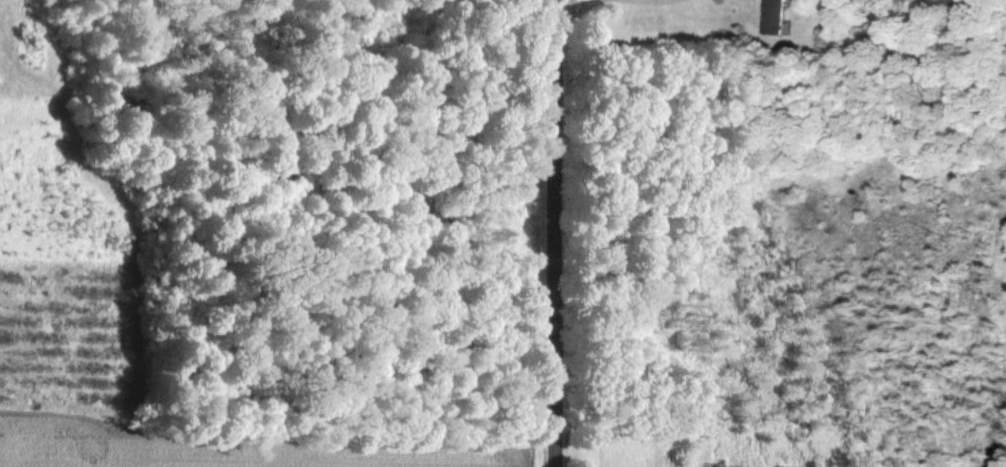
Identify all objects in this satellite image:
road: (638, 0)
building: (770, 17)
road: (559, 233)

